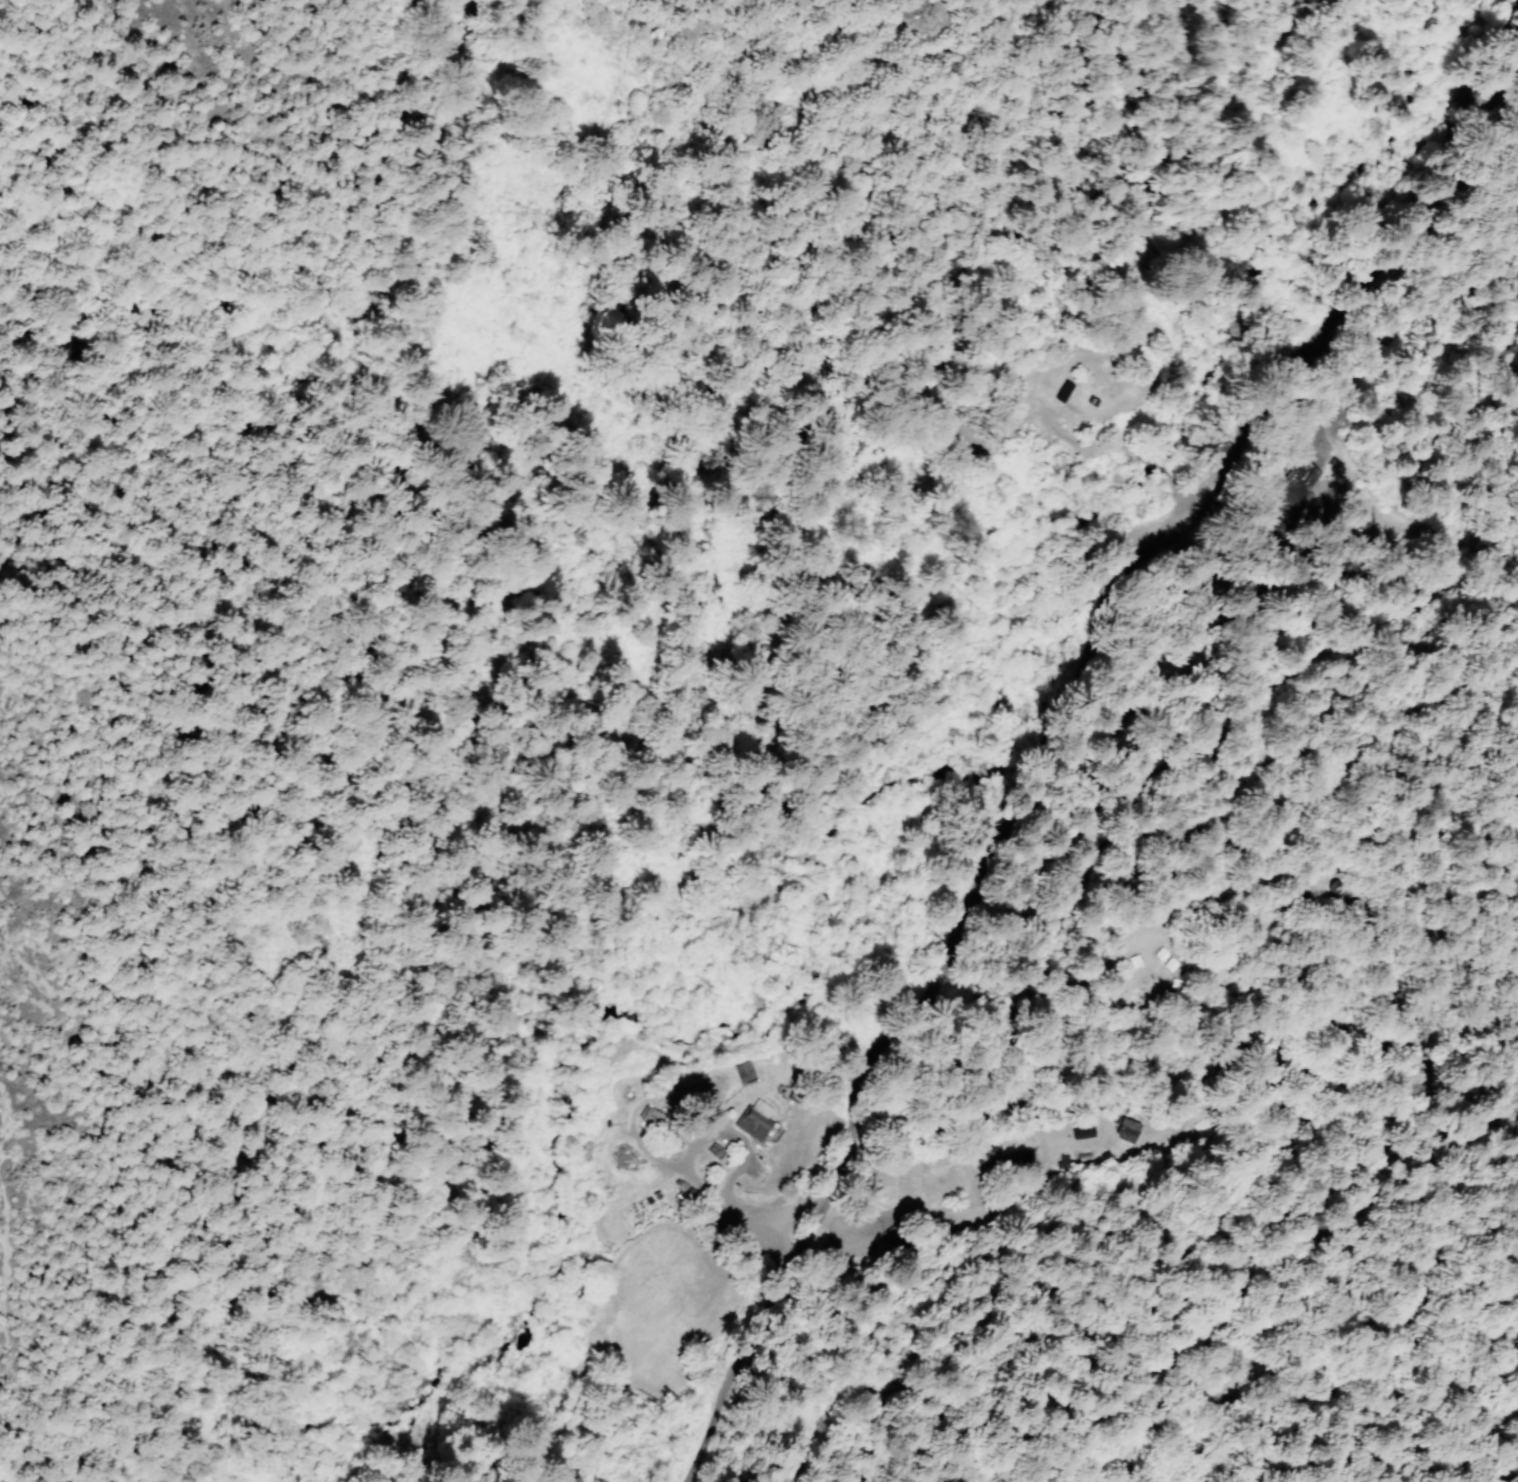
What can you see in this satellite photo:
road: (1375, 264)
building: (1169, 960)
road: (938, 962)
building: (1144, 967)
building: (1179, 969)
building: (742, 1071)
building: (752, 1078)
building: (762, 1127)
building: (1126, 1130)
building: (1022, 1160)

